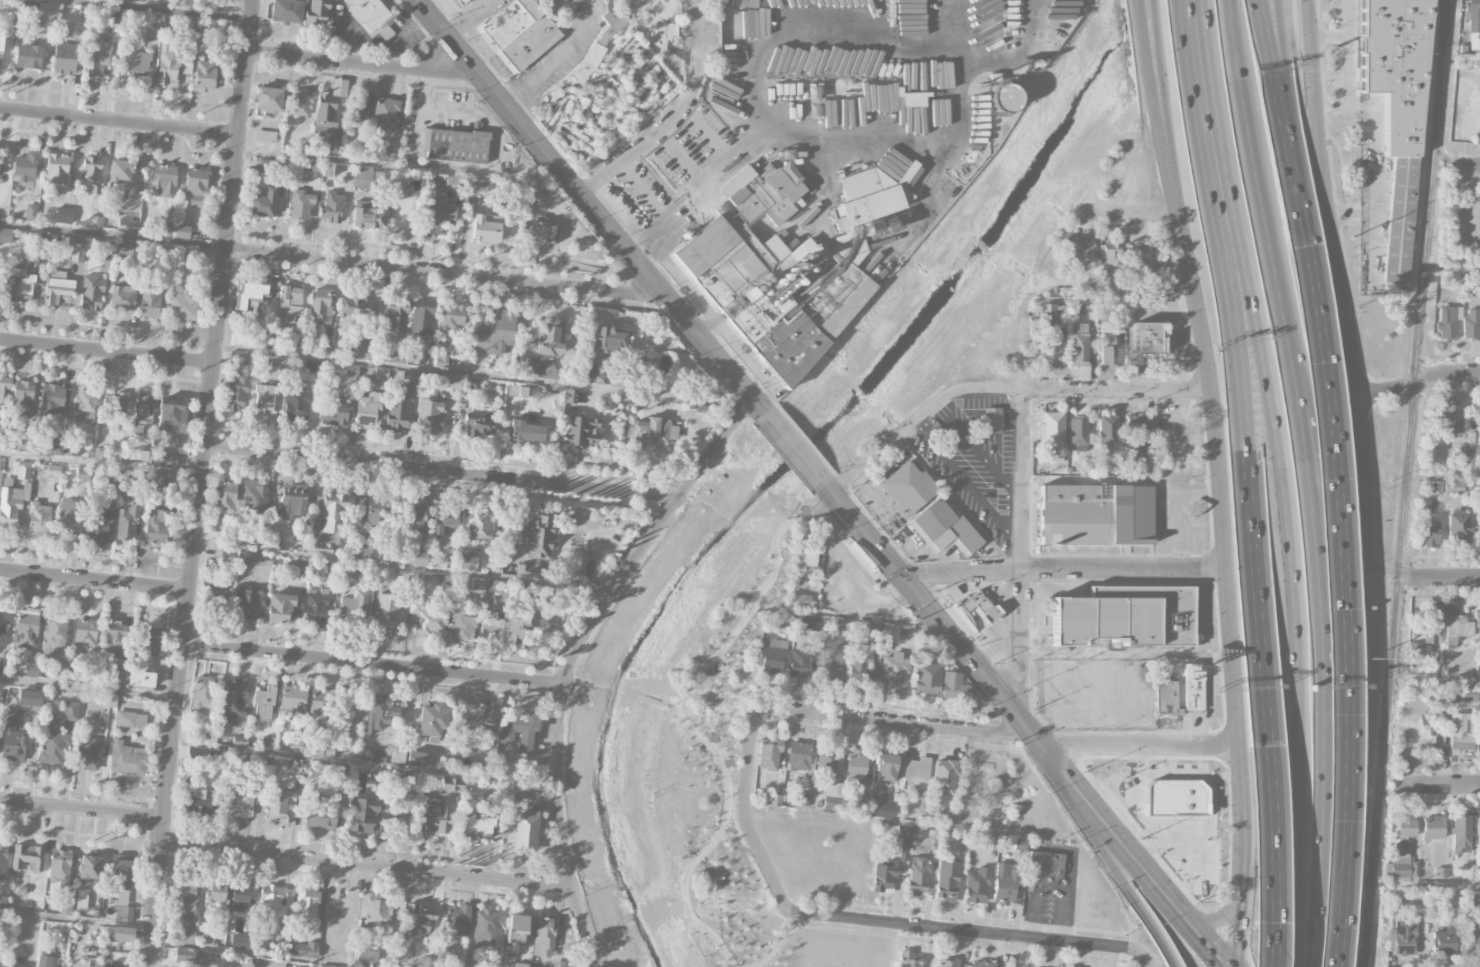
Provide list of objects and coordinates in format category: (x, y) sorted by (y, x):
building: (183, 2)
building: (459, 2)
building: (6, 4)
building: (211, 4)
road: (165, 9)
building: (286, 11)
building: (315, 12)
building: (368, 13)
building: (41, 14)
road: (569, 14)
building: (1472, 14)
road: (468, 18)
building: (189, 24)
building: (521, 32)
building: (667, 32)
building: (385, 33)
road: (1348, 36)
building: (1, 44)
building: (600, 47)
building: (28, 57)
building: (65, 58)
building: (98, 58)
road: (559, 59)
building: (136, 61)
building: (168, 64)
road: (360, 65)
road: (1155, 66)
road: (1160, 66)
building: (204, 75)
building: (1004, 97)
building: (268, 99)
park: (599, 99)
building: (296, 103)
road: (1280, 110)
road: (1290, 110)
building: (360, 111)
building: (326, 113)
building: (1396, 114)
building: (386, 115)
road: (675, 117)
road: (120, 122)
building: (265, 137)
building: (457, 146)
building: (334, 149)
building: (0, 152)
building: (383, 156)
building: (392, 157)
building: (267, 165)
road: (1465, 167)
building: (57, 168)
building: (26, 169)
building: (92, 169)
road: (404, 169)
building: (120, 175)
building: (163, 181)
building: (477, 186)
building: (195, 187)
road: (1264, 190)
building: (533, 193)
building: (764, 196)
building: (871, 196)
building: (263, 204)
building: (300, 204)
road: (589, 205)
building: (332, 209)
building: (31, 212)
building: (437, 214)
road: (1130, 214)
building: (63, 215)
building: (368, 218)
building: (92, 222)
building: (127, 225)
building: (484, 230)
building: (182, 232)
building: (540, 233)
road: (1304, 233)
building: (5, 235)
road: (114, 237)
building: (164, 251)
building: (1079, 253)
building: (1111, 253)
building: (1144, 254)
building: (181, 255)
building: (727, 259)
road: (1457, 266)
building: (0, 267)
road: (445, 273)
building: (1454, 278)
road: (1337, 281)
building: (20, 286)
building: (1156, 287)
building: (57, 290)
building: (91, 295)
building: (251, 295)
building: (121, 297)
building: (149, 303)
building: (289, 303)
building: (320, 305)
building: (182, 307)
building: (357, 307)
building: (1047, 312)
building: (451, 316)
building: (396, 318)
building: (422, 318)
building: (1447, 322)
building: (803, 323)
building: (1471, 324)
building: (496, 333)
building: (1147, 338)
building: (243, 340)
building: (608, 340)
building: (1078, 344)
building: (1109, 348)
building: (546, 349)
building: (1052, 351)
road: (107, 352)
building: (239, 358)
building: (441, 360)
building: (274, 361)
building: (312, 366)
building: (351, 370)
building: (381, 373)
road: (1242, 373)
road: (484, 375)
building: (594, 378)
road: (1416, 380)
building: (450, 382)
building: (473, 383)
building: (5, 385)
road: (1003, 390)
building: (235, 391)
building: (665, 396)
building: (22, 399)
building: (52, 399)
building: (263, 399)
building: (84, 401)
building: (115, 405)
building: (296, 405)
building: (144, 411)
building: (368, 411)
building: (334, 412)
building: (397, 412)
building: (172, 416)
building: (429, 416)
building: (88, 418)
building: (1449, 418)
building: (992, 421)
building: (478, 424)
building: (1137, 424)
building: (1051, 430)
building: (1078, 430)
building: (1106, 430)
building: (580, 431)
building: (652, 431)
building: (526, 432)
road: (1216, 438)
building: (1472, 440)
building: (24, 441)
building: (183, 444)
road: (790, 445)
building: (53, 448)
building: (71, 450)
building: (100, 454)
building: (164, 459)
building: (0, 464)
road: (101, 465)
building: (24, 470)
building: (53, 470)
building: (83, 473)
road: (441, 473)
road: (1449, 474)
building: (111, 477)
road: (1281, 480)
road: (201, 483)
railway: (1404, 483)
building: (162, 484)
building: (1453, 486)
building: (908, 487)
building: (1435, 488)
building: (223, 498)
building: (254, 500)
building: (292, 500)
building: (11, 503)
road: (1022, 506)
building: (374, 515)
building: (1095, 515)
building: (329, 516)
building: (69, 517)
building: (39, 518)
building: (414, 518)
building: (444, 518)
building: (127, 523)
building: (97, 525)
building: (479, 525)
building: (945, 526)
building: (156, 527)
building: (1458, 528)
building: (1429, 534)
building: (538, 536)
road: (1335, 540)
building: (322, 549)
building: (220, 556)
building: (416, 557)
building: (254, 559)
building: (804, 559)
building: (466, 563)
road: (403, 567)
building: (525, 570)
road: (1067, 571)
building: (384, 573)
road: (1419, 576)
road: (94, 581)
building: (473, 586)
traffic signals: (912, 588)
building: (216, 594)
building: (799, 600)
building: (247, 602)
building: (977, 606)
road: (1342, 606)
building: (354, 607)
building: (279, 608)
building: (316, 610)
building: (388, 613)
building: (1126, 617)
building: (425, 618)
building: (810, 621)
road: (941, 622)
building: (461, 624)
building: (507, 624)
building: (966, 625)
building: (1431, 627)
building: (3, 628)
building: (1479, 628)
building: (26, 629)
building: (873, 630)
building: (1456, 630)
building: (55, 632)
road: (1358, 632)
building: (85, 633)
building: (890, 633)
building: (114, 636)
building: (145, 640)
building: (1414, 650)
road: (1127, 655)
road: (571, 658)
building: (772, 658)
building: (831, 660)
building: (799, 664)
road: (374, 665)
building: (862, 667)
building: (894, 670)
building: (31, 671)
building: (59, 671)
road: (1325, 674)
building: (927, 678)
building: (140, 679)
road: (686, 680)
road: (739, 681)
road: (1442, 681)
building: (954, 686)
road: (89, 687)
building: (1193, 692)
building: (203, 694)
parking lot: (1097, 694)
building: (1166, 696)
building: (1464, 696)
building: (29, 698)
building: (293, 699)
building: (232, 700)
building: (263, 702)
building: (321, 708)
building: (71, 711)
building: (379, 713)
building: (130, 719)
building: (476, 720)
building: (432, 721)
road: (892, 721)
building: (521, 730)
building: (1459, 734)
building: (1479, 736)
building: (12, 743)
building: (267, 744)
road: (1147, 746)
building: (53, 748)
building: (322, 749)
building: (89, 753)
building: (201, 753)
building: (768, 753)
building: (380, 756)
building: (797, 756)
building: (237, 757)
building: (127, 759)
building: (416, 759)
building: (826, 761)
road: (364, 764)
building: (885, 766)
building: (298, 767)
building: (856, 769)
building: (339, 770)
building: (915, 771)
building: (403, 776)
building: (943, 777)
building: (451, 784)
road: (1440, 785)
building: (876, 788)
building: (530, 791)
building: (1174, 797)
building: (775, 799)
road: (1243, 799)
building: (805, 801)
building: (858, 801)
building: (201, 802)
building: (832, 803)
building: (818, 804)
building: (239, 805)
road: (82, 810)
building: (281, 810)
building: (884, 810)
road: (1139, 811)
building: (402, 813)
building: (318, 814)
road: (743, 814)
building: (362, 815)
building: (434, 816)
building: (948, 816)
road: (1210, 822)
building: (477, 826)
building: (1433, 828)
building: (526, 832)
building: (1478, 833)
road: (1353, 834)
building: (1461, 834)
road: (1180, 836)
building: (903, 840)
building: (986, 841)
building: (1020, 844)
building: (1402, 852)
building: (28, 857)
road: (1269, 858)
building: (3, 859)
road: (1118, 866)
building: (90, 867)
road: (367, 867)
road: (1145, 867)
building: (60, 868)
building: (1044, 868)
building: (1468, 871)
building: (1441, 872)
building: (883, 875)
building: (918, 876)
building: (1006, 882)
building: (947, 883)
building: (976, 885)
road: (1431, 886)
building: (121, 889)
building: (215, 892)
building: (240, 896)
building: (81, 899)
building: (3, 902)
building: (275, 902)
road: (1230, 902)
building: (306, 905)
building: (64, 907)
building: (377, 909)
road: (1242, 909)
building: (184, 910)
building: (456, 920)
building: (420, 921)
building: (485, 926)
building: (516, 928)
road: (828, 929)
road: (973, 932)
building: (123, 934)
building: (544, 937)
building: (1403, 937)
building: (1475, 939)
building: (205, 940)
building: (240, 941)
building: (1446, 941)
building: (305, 950)
road: (263, 954)
building: (442, 955)
building: (190, 957)
building: (365, 957)
building: (909, 959)
building: (15, 961)
building: (44, 961)
building: (948, 963)
building: (114, 964)
building: (471, 964)
building: (557, 964)
building: (982, 964)
building: (520, 965)
building: (1, 966)

